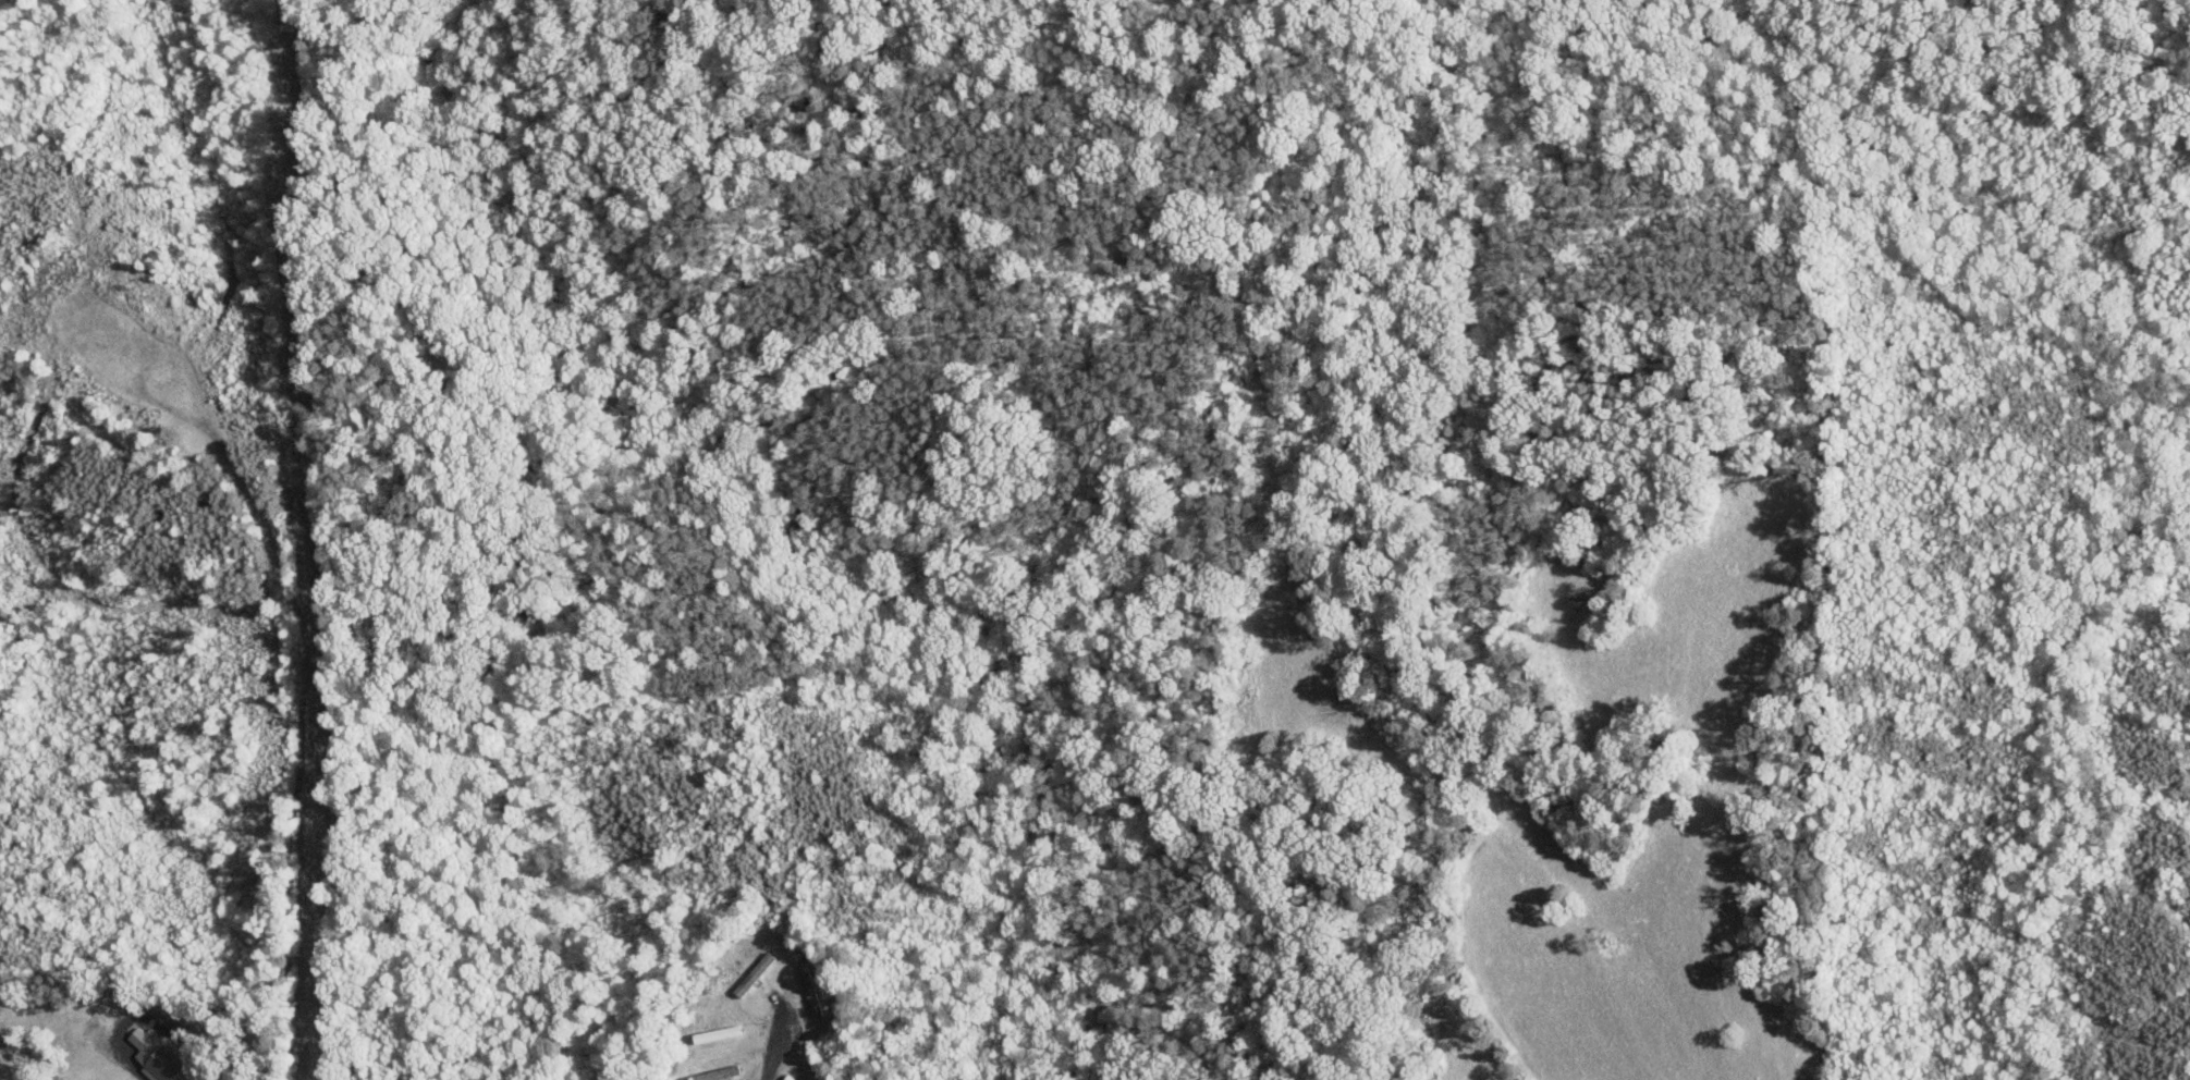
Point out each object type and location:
road: (303, 708)
road: (775, 1056)

